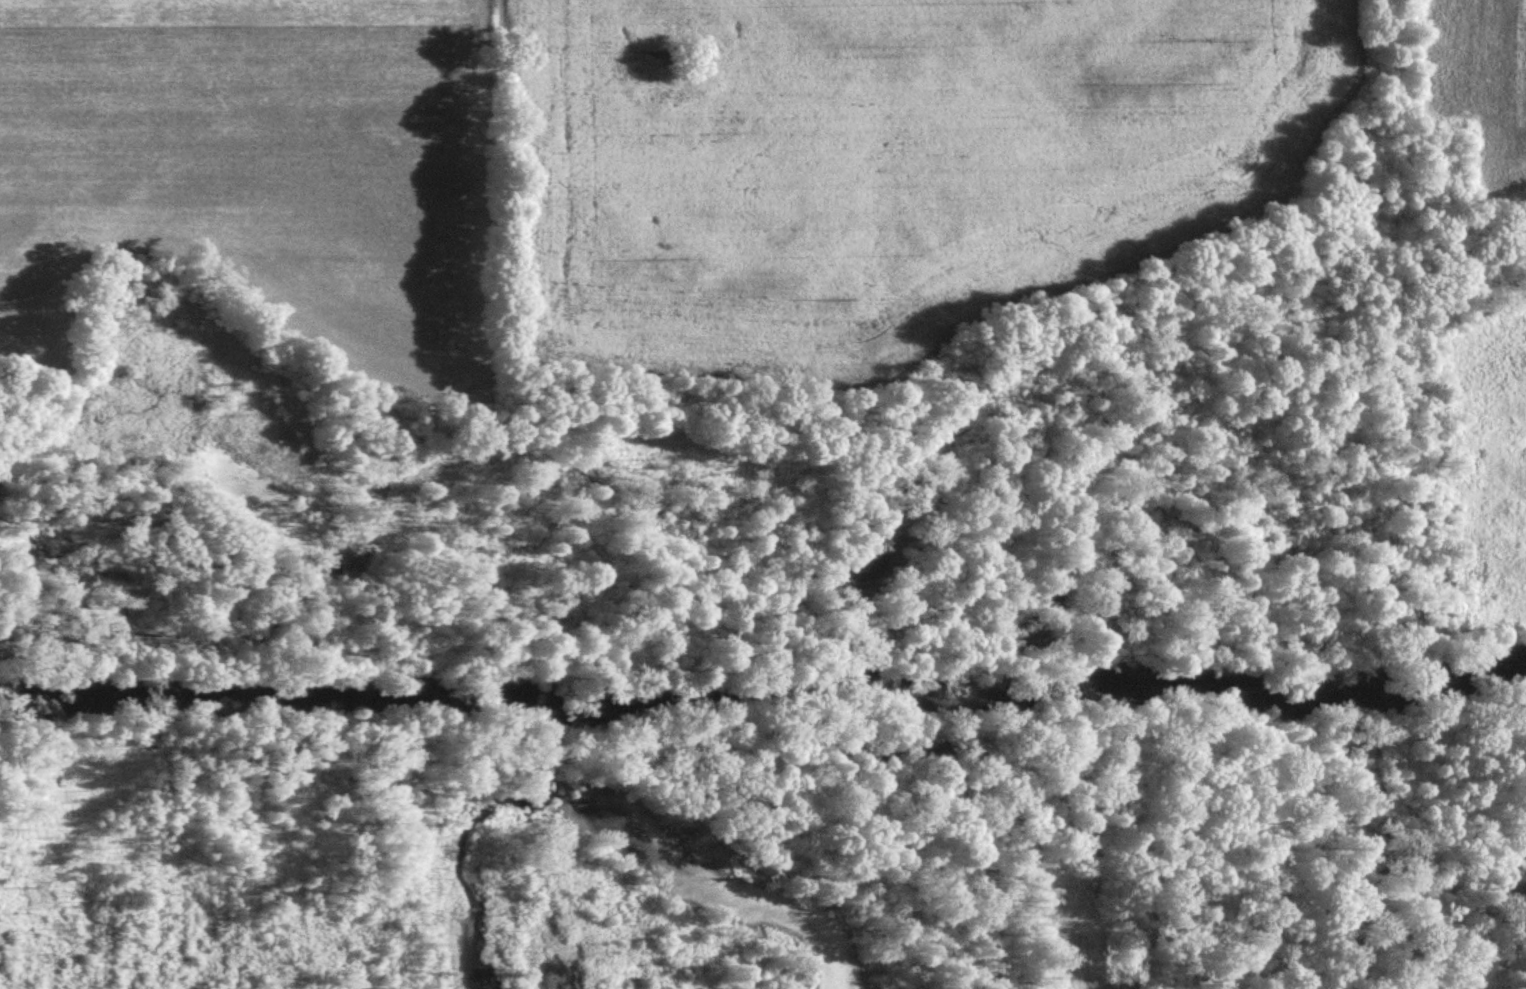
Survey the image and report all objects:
river: (763, 690)

